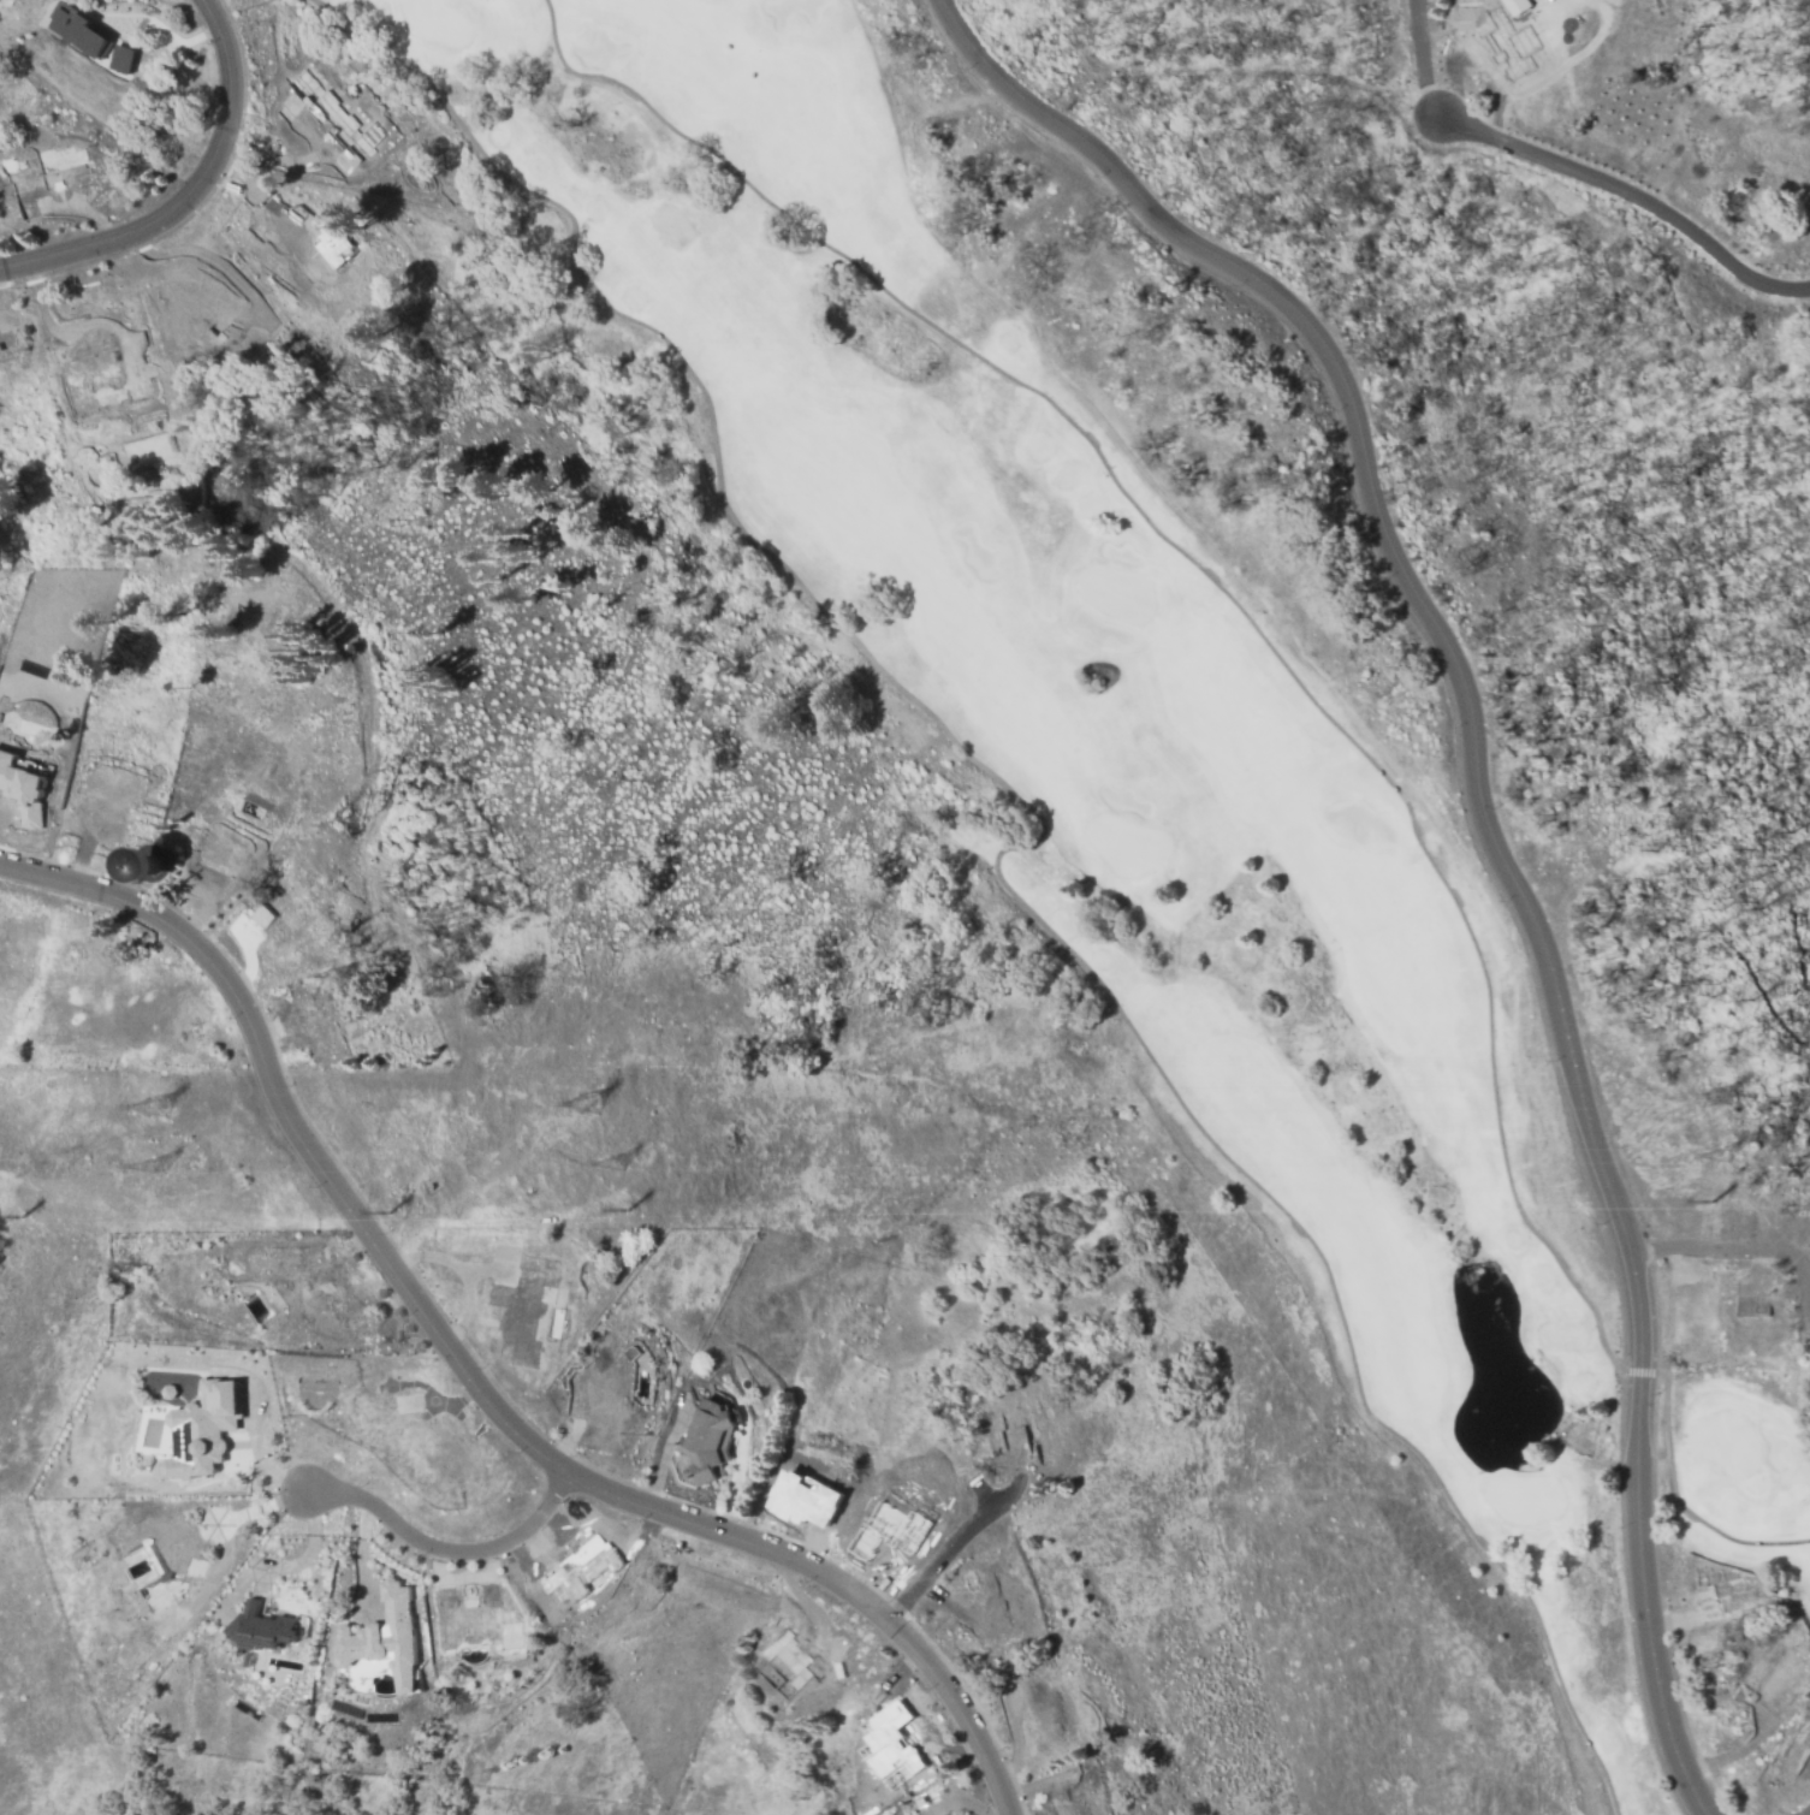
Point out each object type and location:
building: (1517, 6)
building: (81, 30)
building: (123, 59)
road: (1422, 61)
building: (334, 115)
road: (182, 184)
road: (1633, 196)
building: (331, 242)
building: (22, 788)
road: (1479, 820)
park: (1146, 849)
building: (146, 865)
power tower: (1725, 1097)
power tower: (587, 1104)
power tower: (156, 1109)
power tower: (1721, 1157)
power tower: (616, 1165)
power tower: (155, 1168)
power tower: (1721, 1200)
power tower: (646, 1210)
power tower: (7, 1217)
road: (314, 1224)
road: (1732, 1250)
road: (475, 1369)
building: (168, 1392)
building: (204, 1428)
building: (711, 1439)
building: (806, 1499)
road: (451, 1550)
road: (951, 1555)
building: (261, 1627)
building: (384, 1637)
building: (891, 1737)

